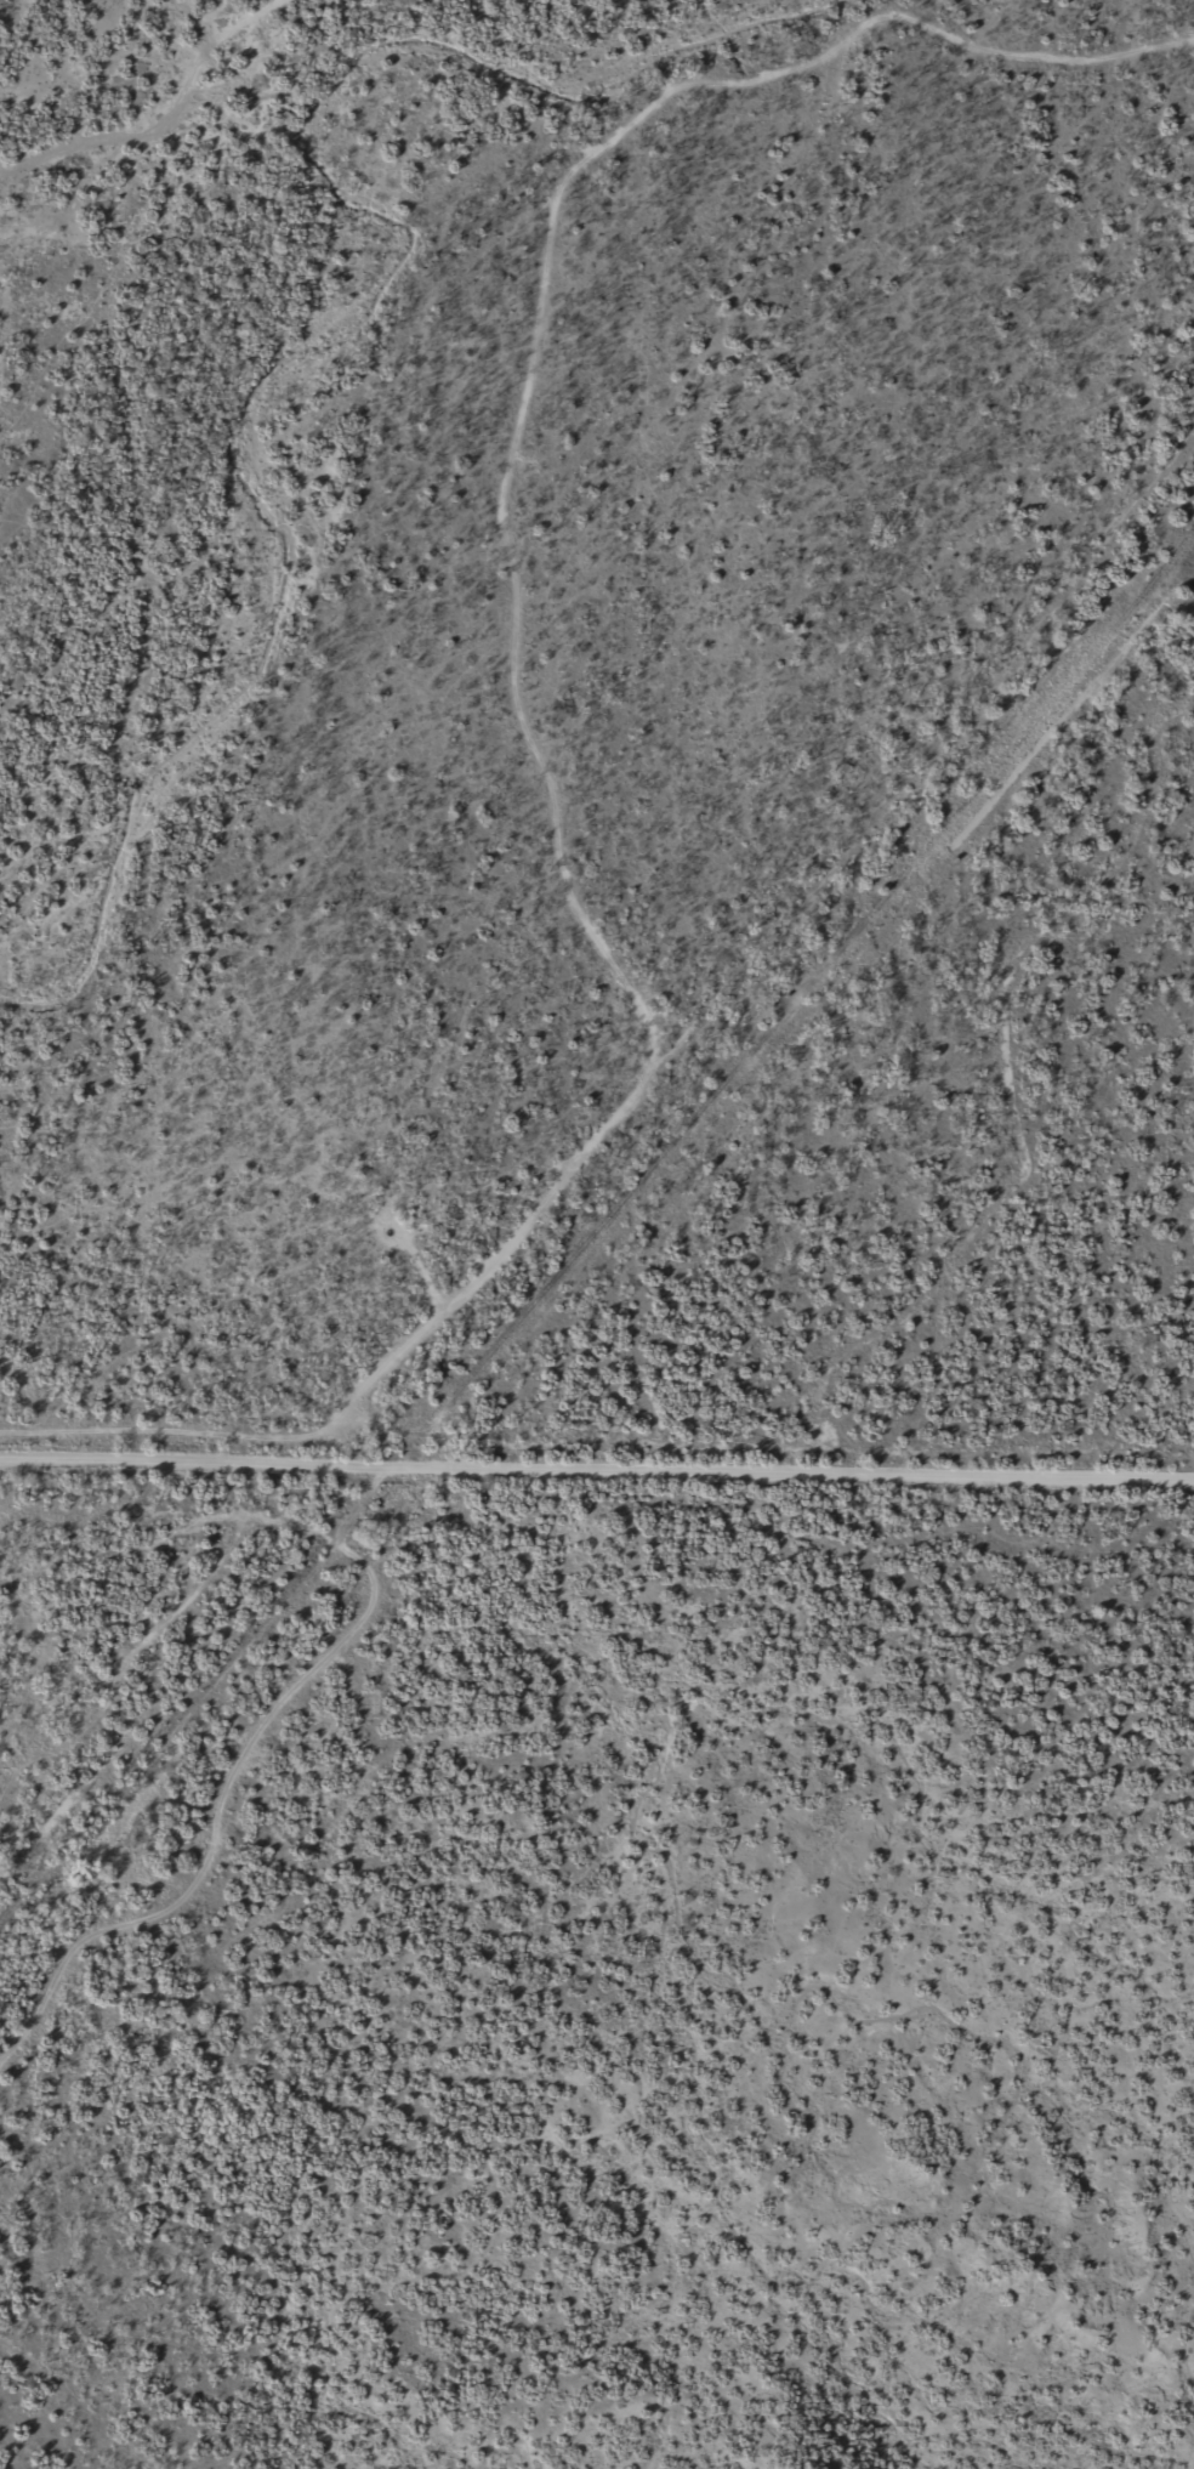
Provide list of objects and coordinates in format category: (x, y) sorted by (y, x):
road: (715, 842)
railway: (597, 1251)
road: (596, 1472)

